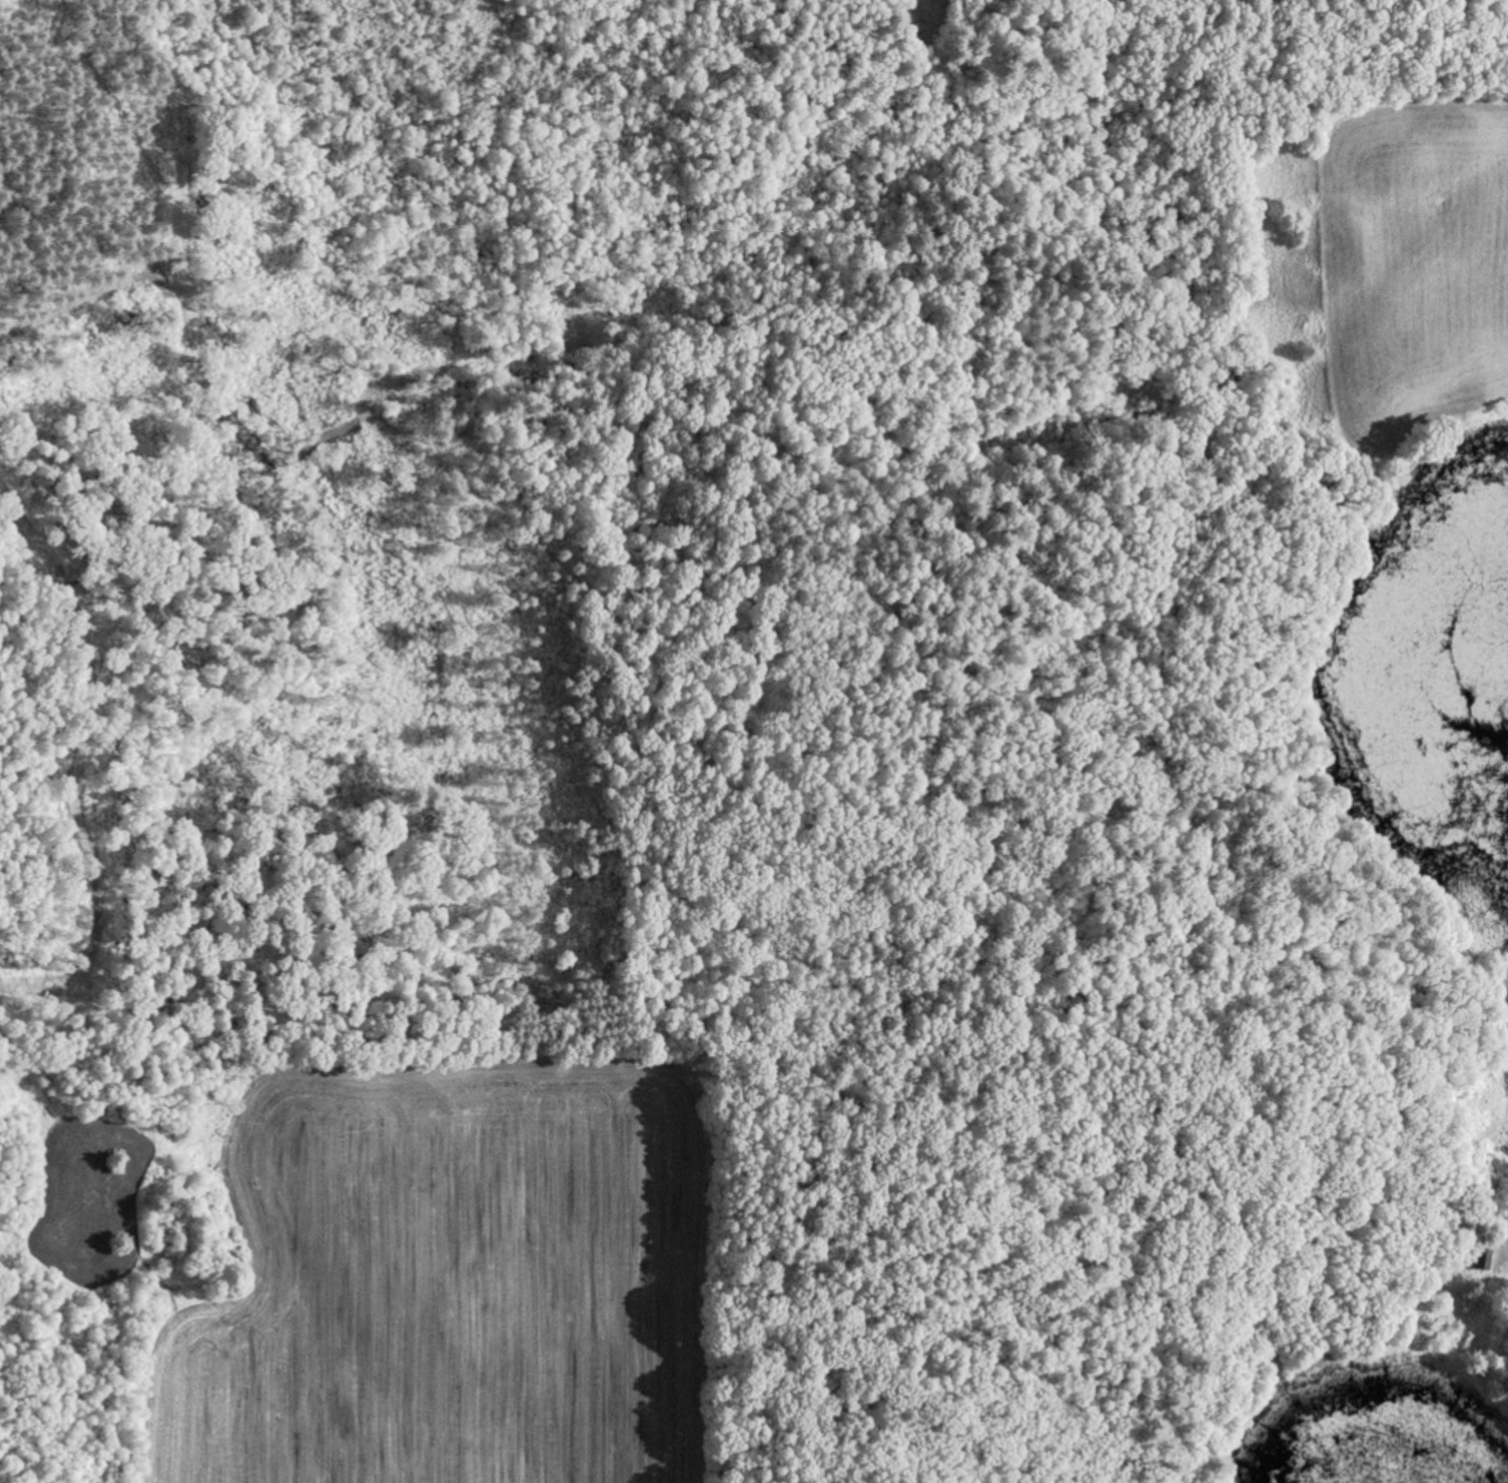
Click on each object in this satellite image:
building: (1481, 1260)

